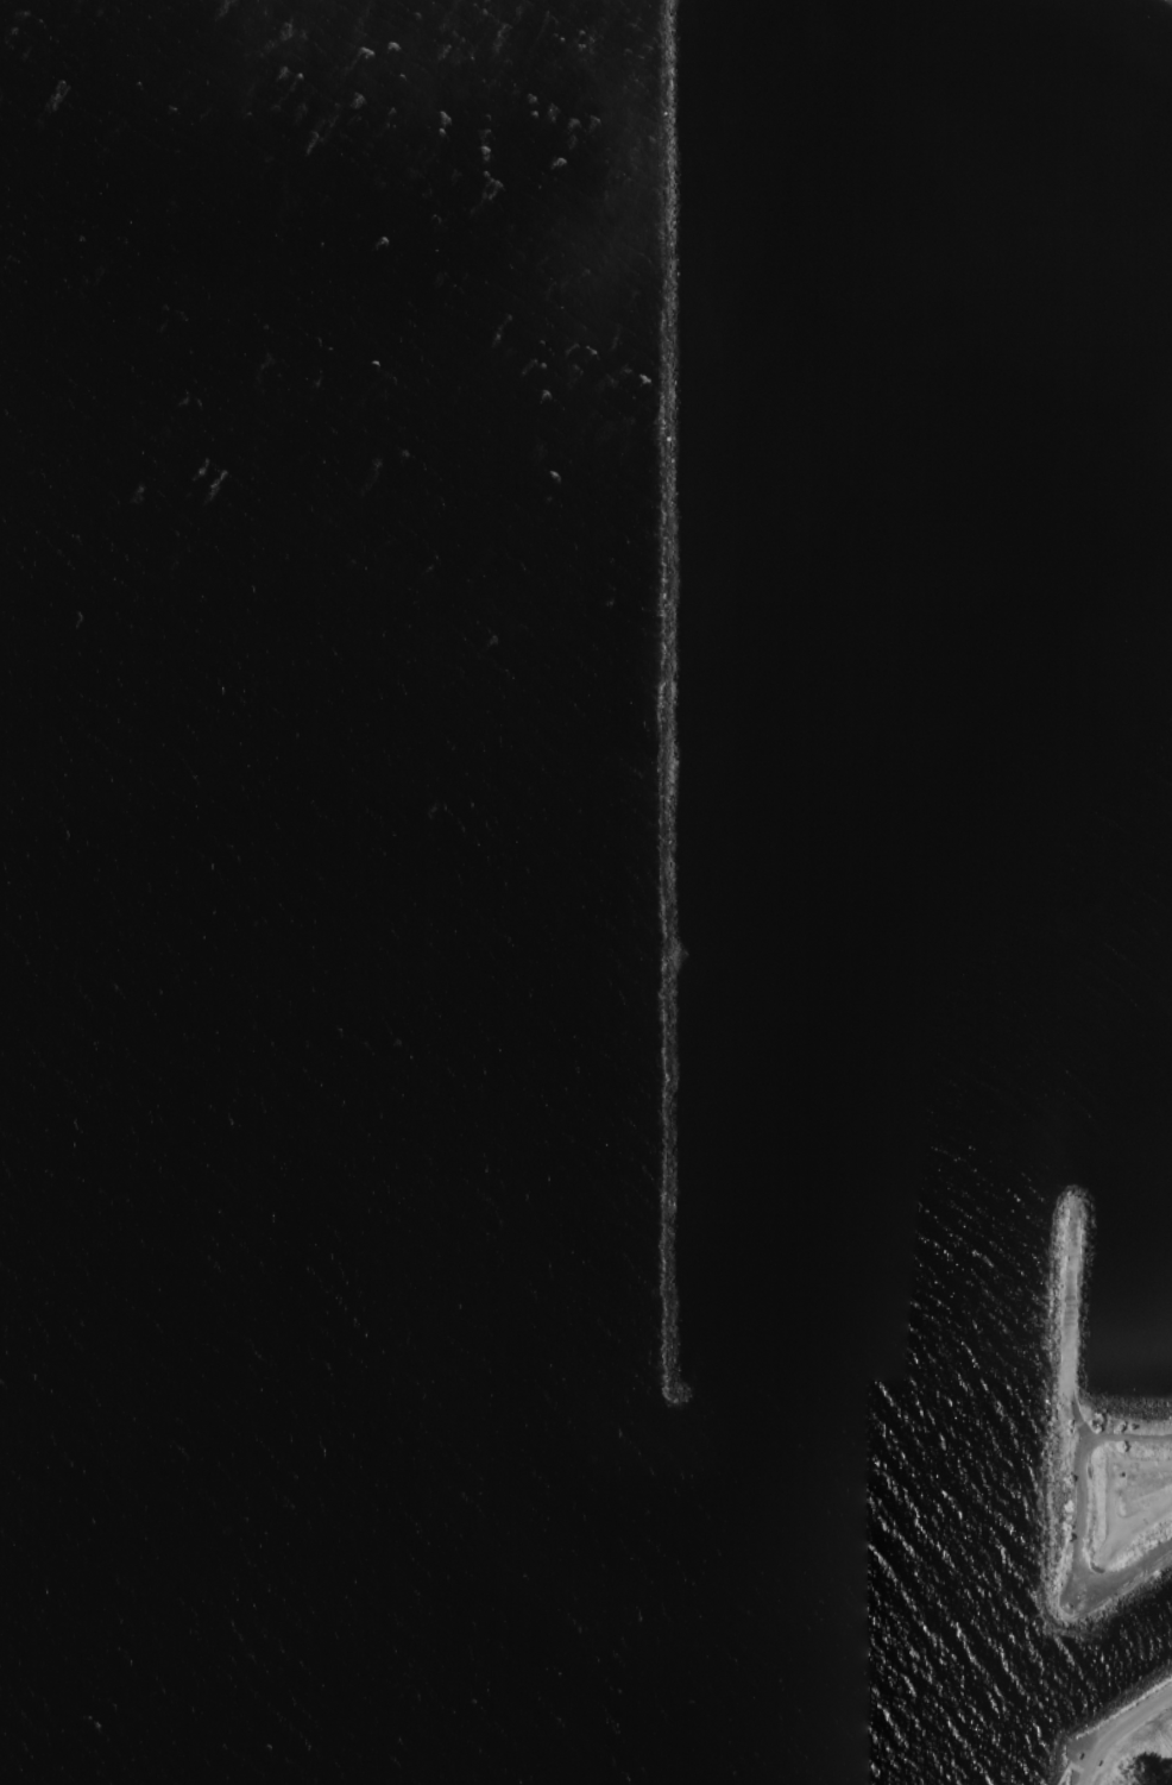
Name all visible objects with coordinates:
pier: (675, 775)
park: (1099, 1464)
road: (1078, 1516)
road: (1127, 1533)
road: (1126, 1739)
park: (1121, 1742)

